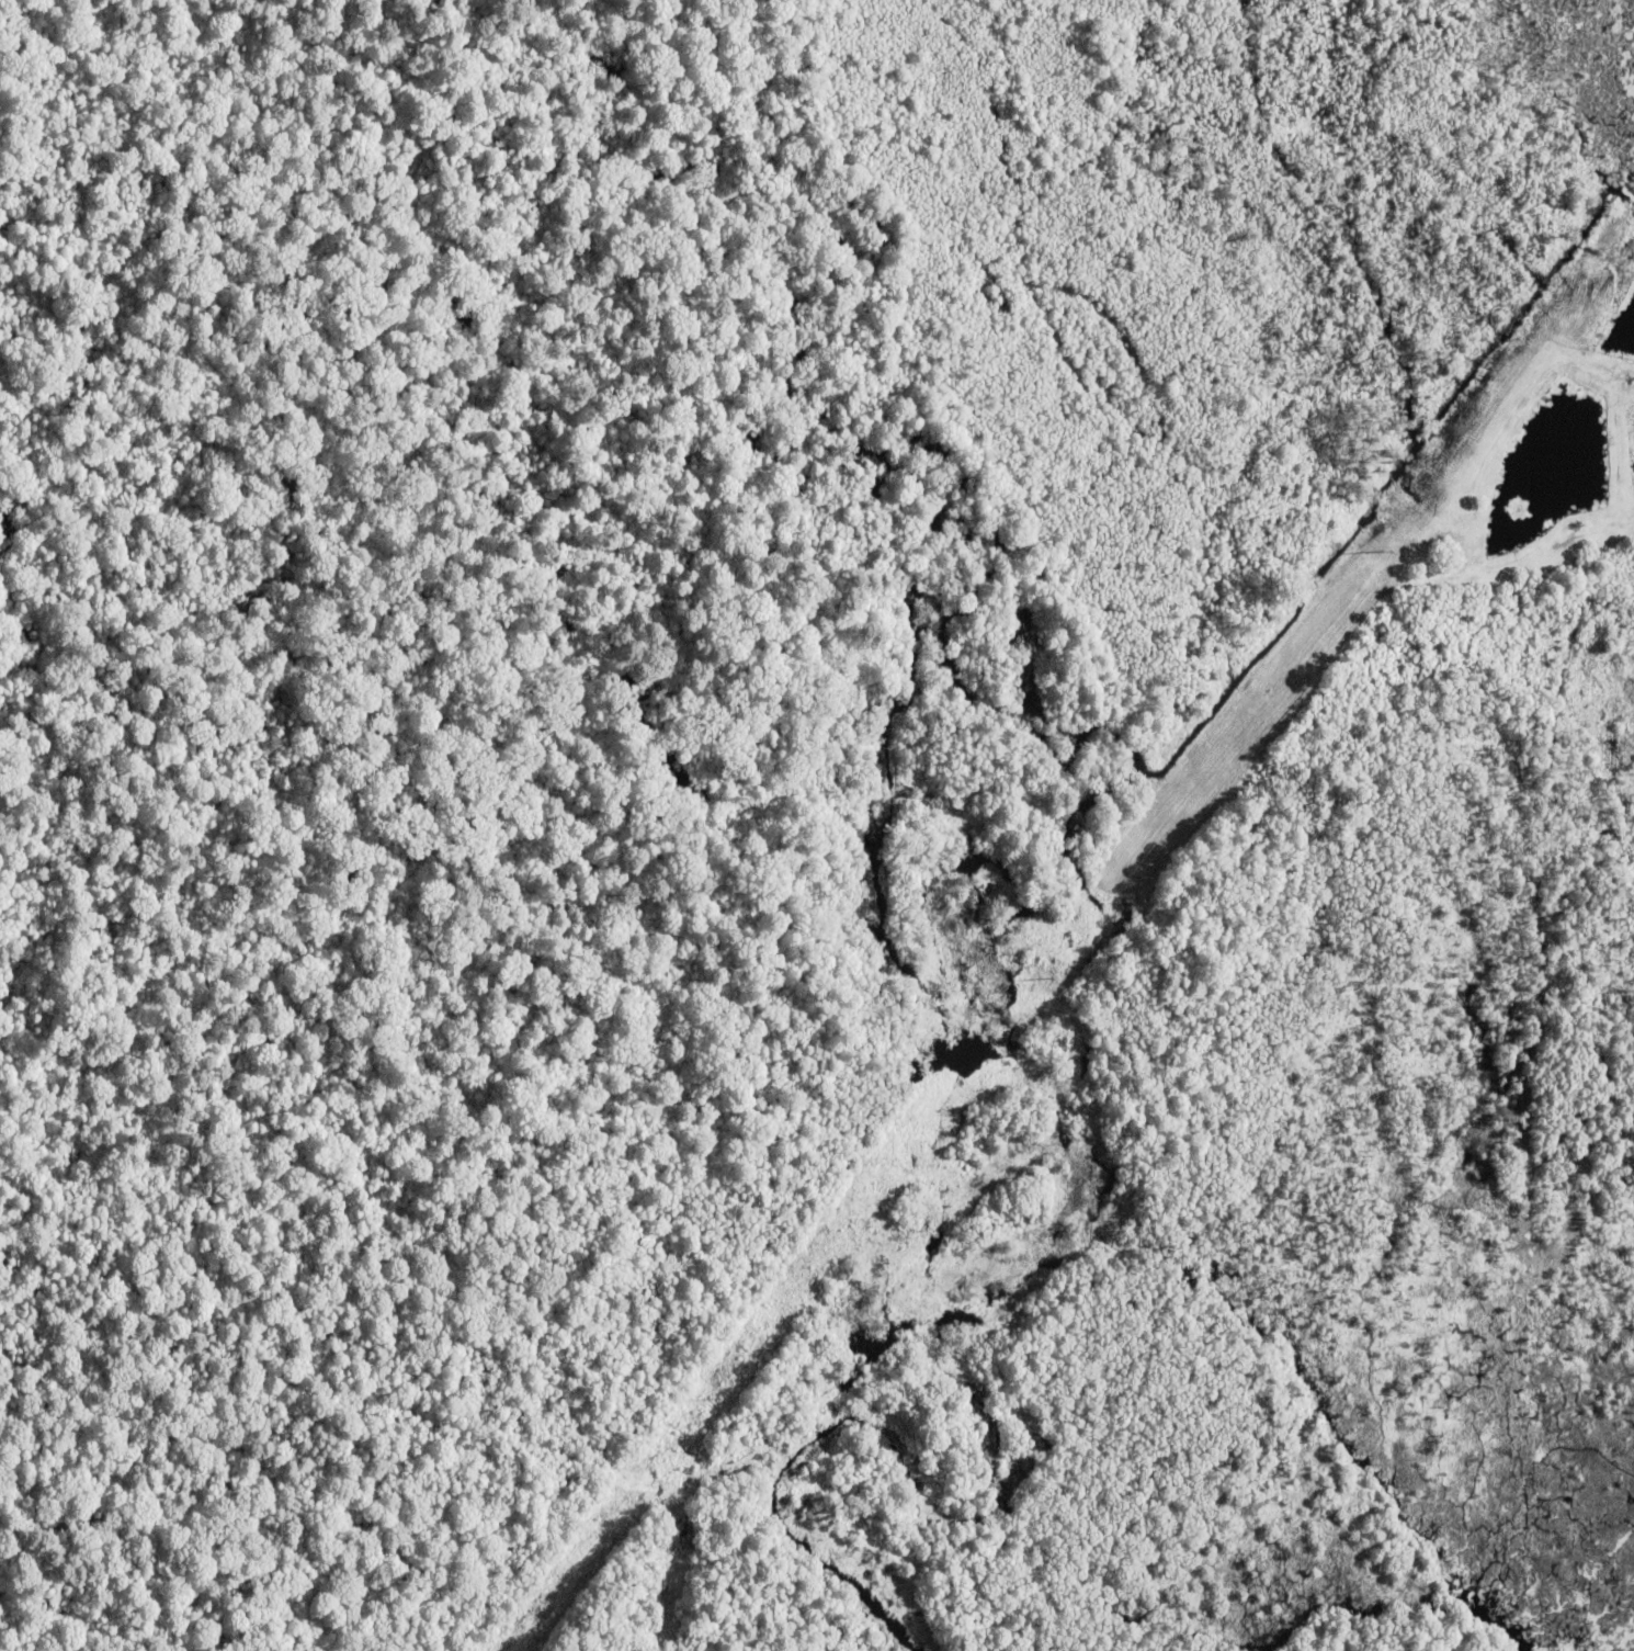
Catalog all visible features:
road: (1499, 440)
road: (1626, 517)
power tower: (1045, 979)
power tower: (714, 1395)

